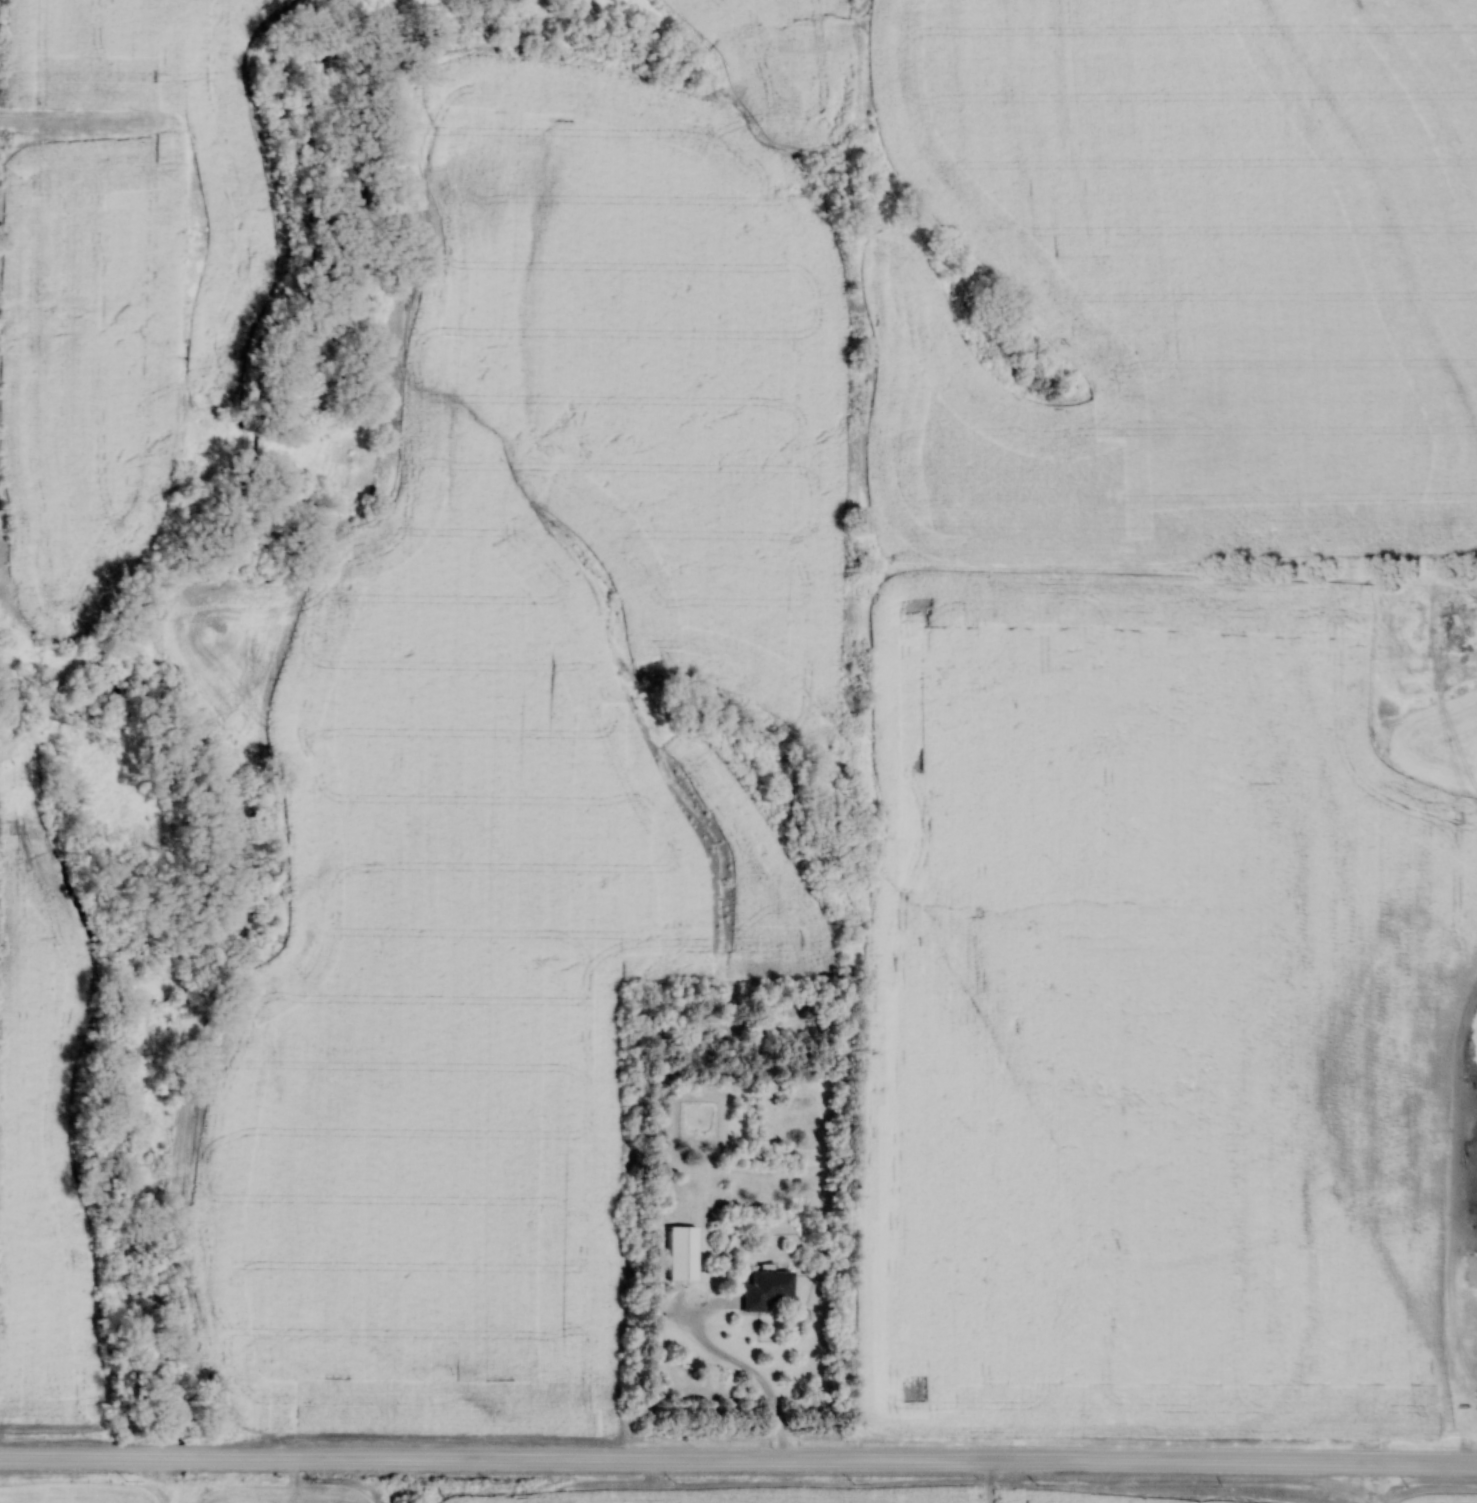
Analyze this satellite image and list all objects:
building: (683, 1252)
building: (768, 1289)
building: (1463, 1344)
road: (738, 1459)

